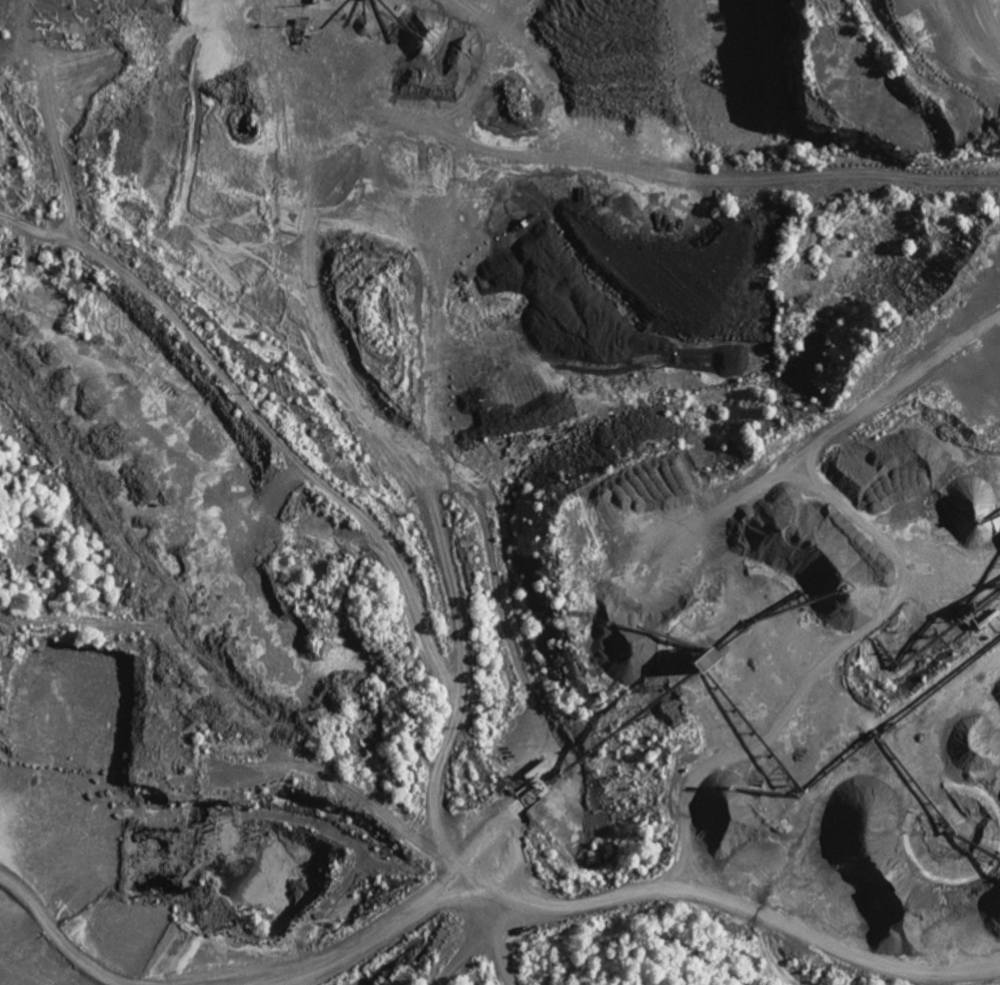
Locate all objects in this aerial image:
quarry: (499, 492)

